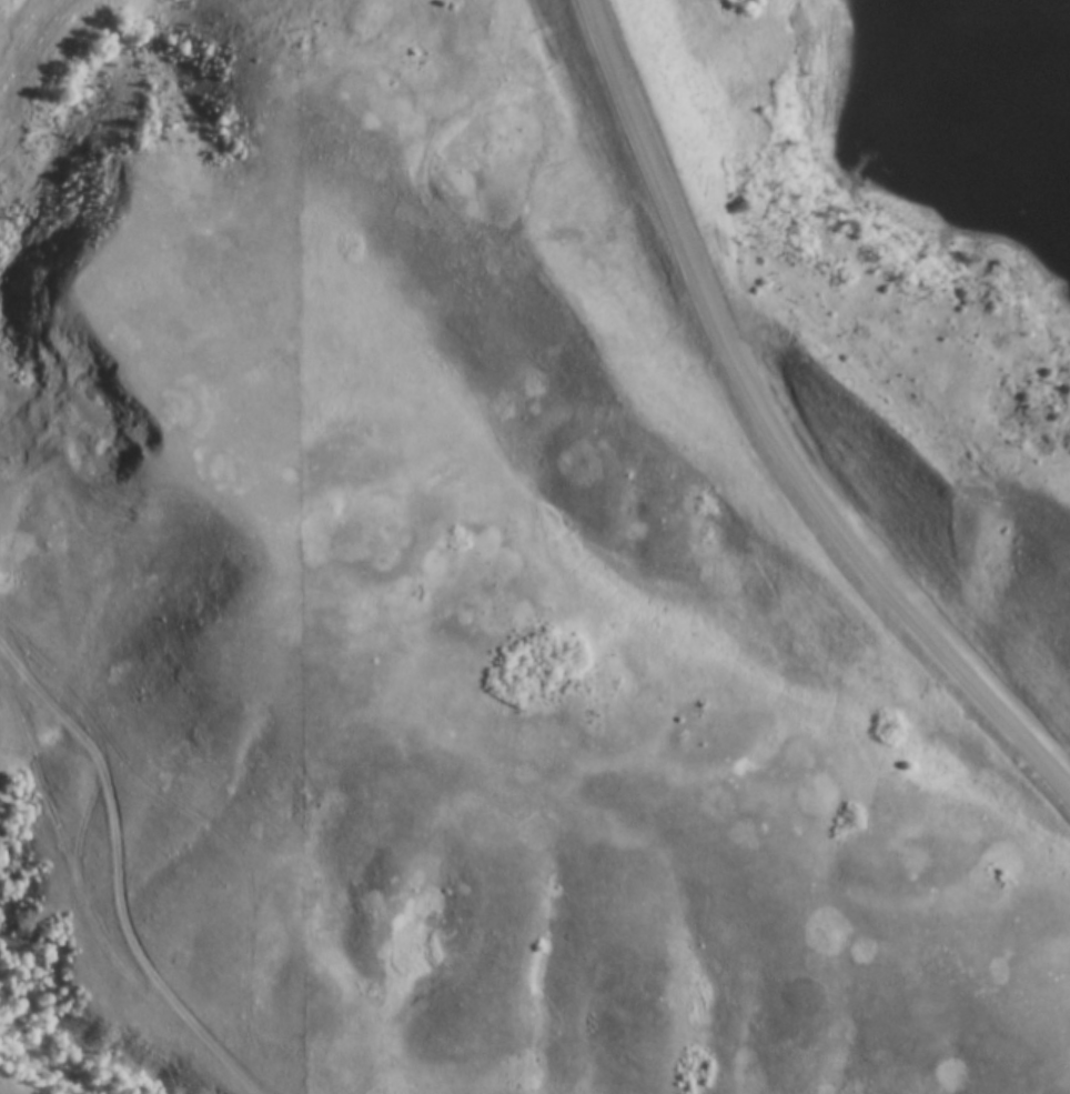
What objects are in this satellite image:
road: (16, 38)
building: (699, 299)
road: (770, 429)
road: (203, 825)

